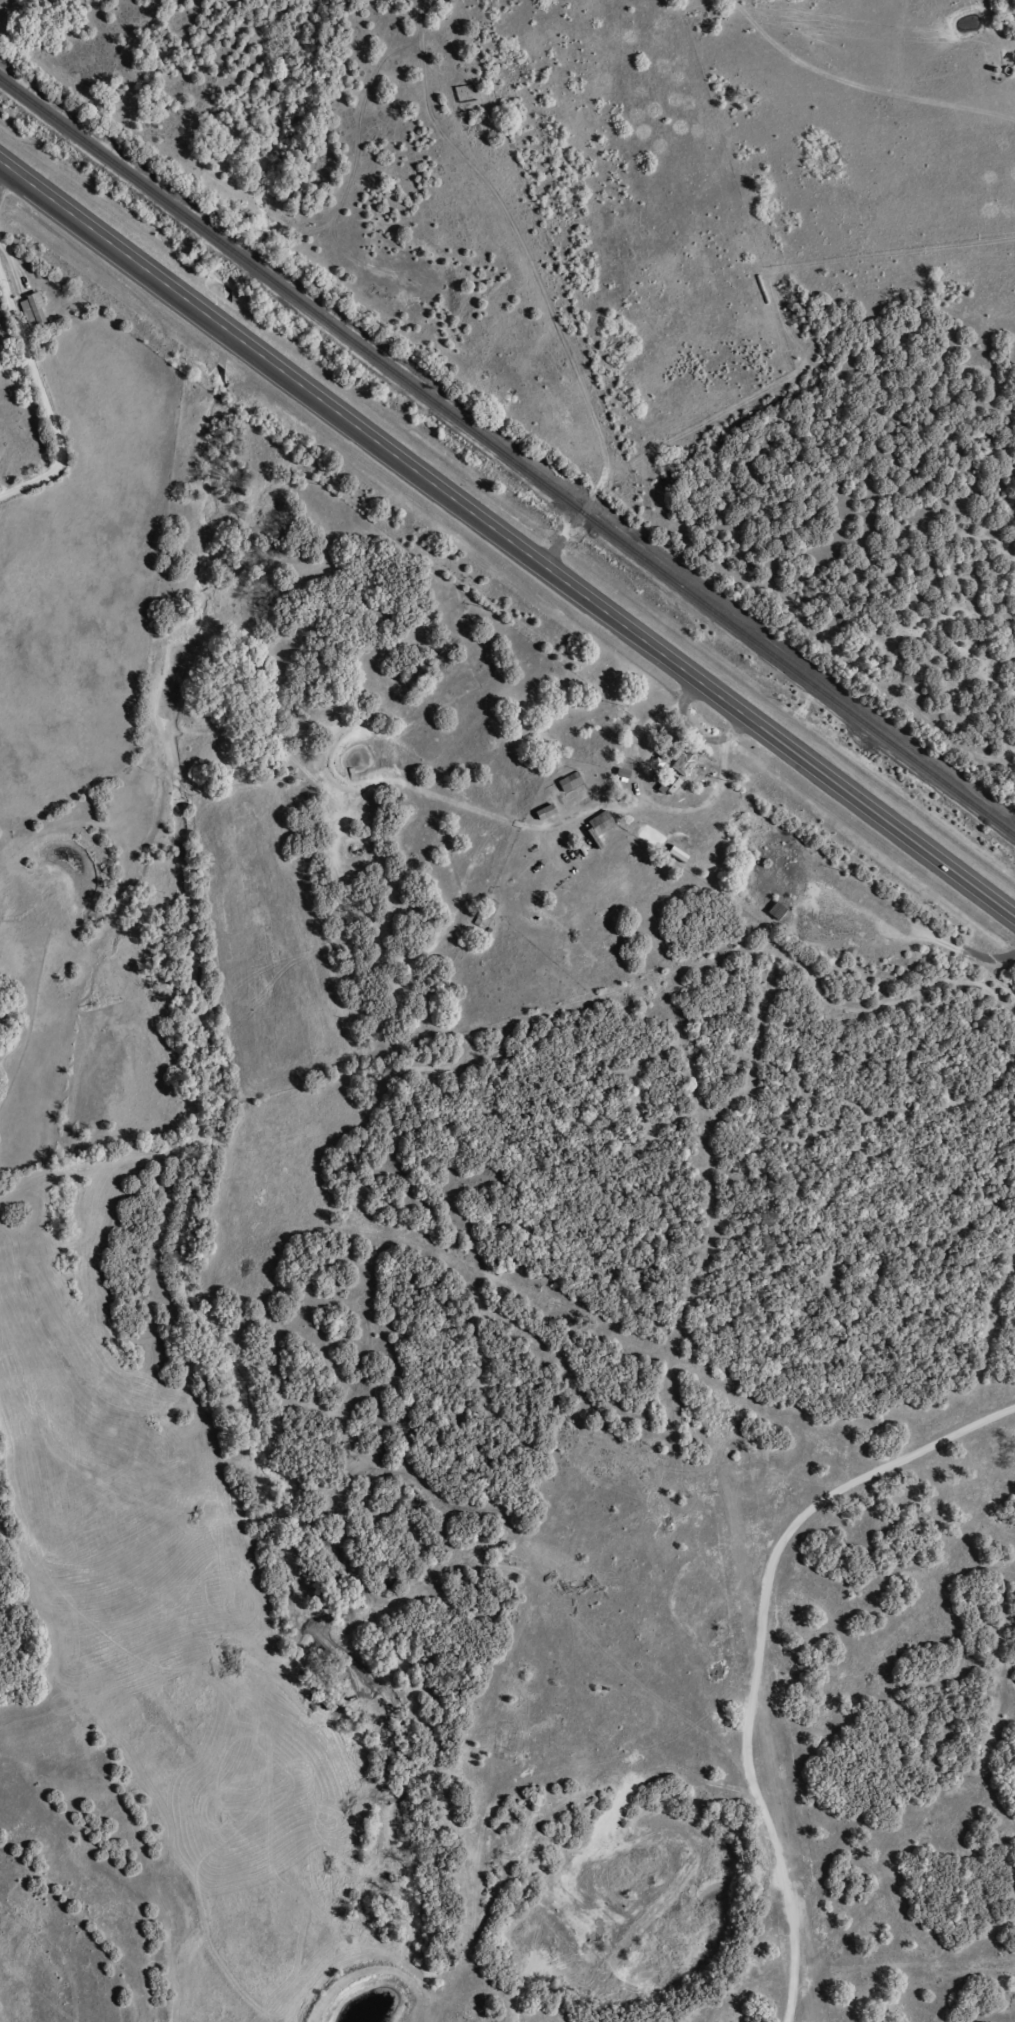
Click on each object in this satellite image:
road: (543, 285)
building: (34, 310)
road: (43, 356)
railway: (507, 456)
road: (506, 537)
building: (686, 765)
building: (570, 785)
building: (602, 822)

